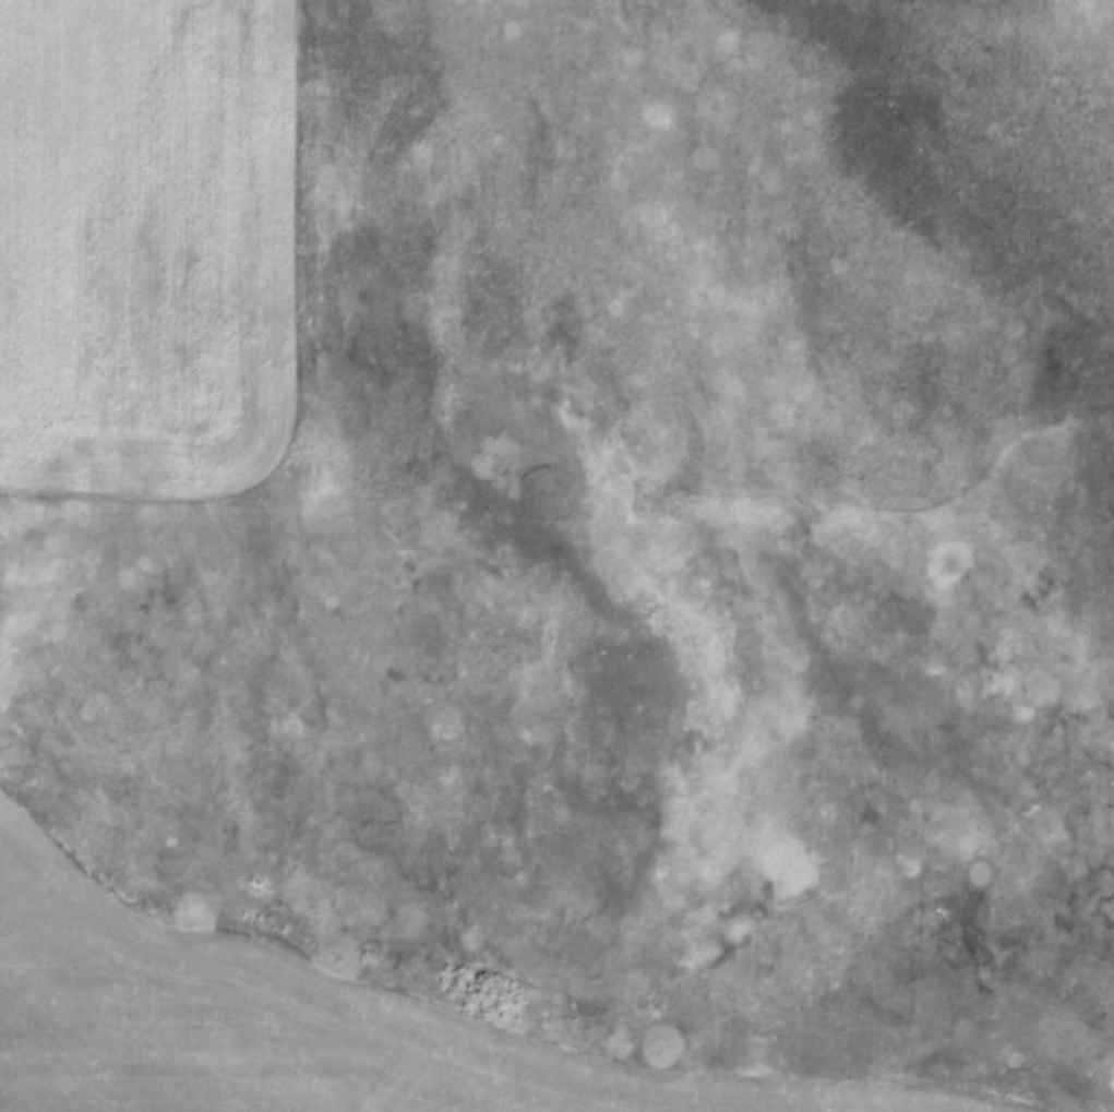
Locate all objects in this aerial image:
power substation: (69, 304)

